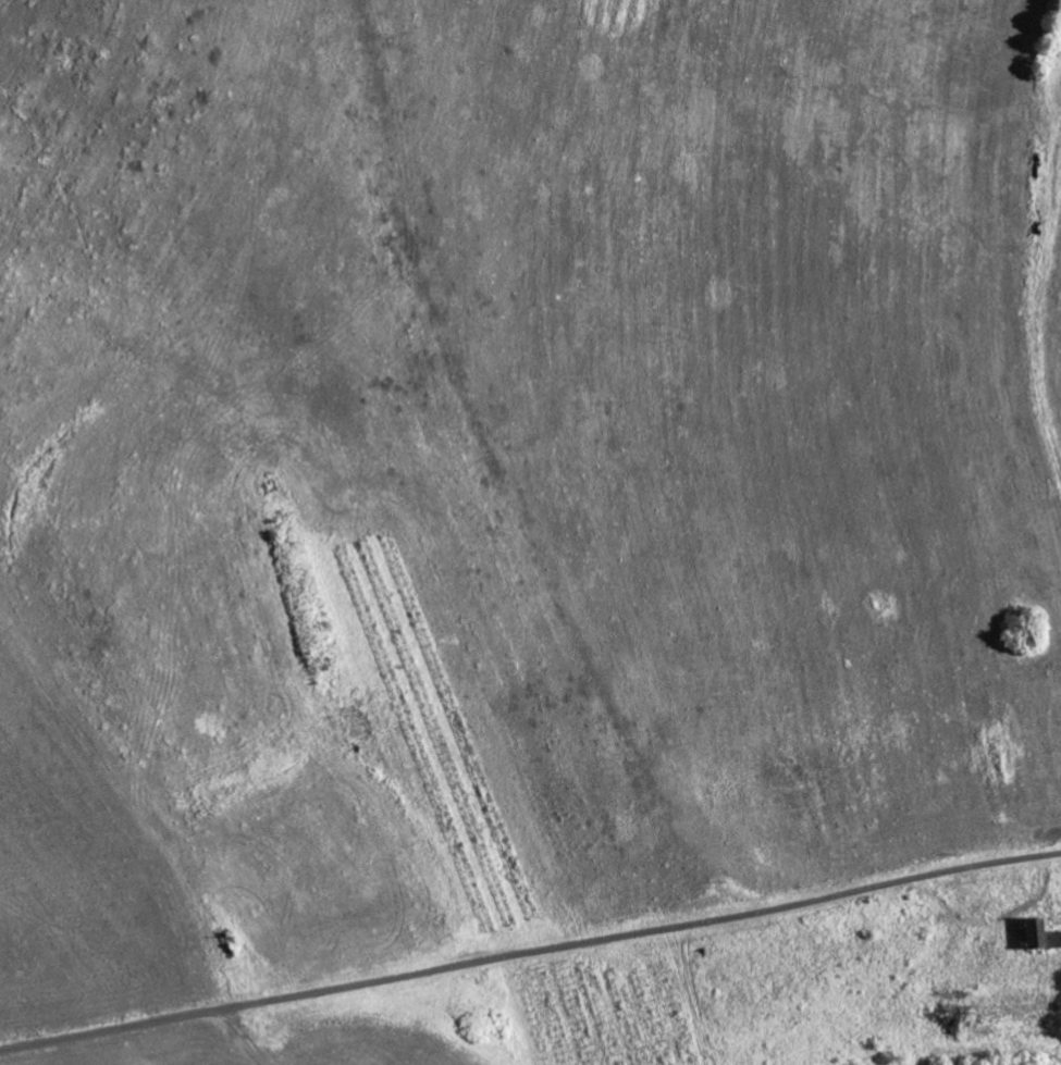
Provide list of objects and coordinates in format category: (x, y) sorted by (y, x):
road: (530, 951)

